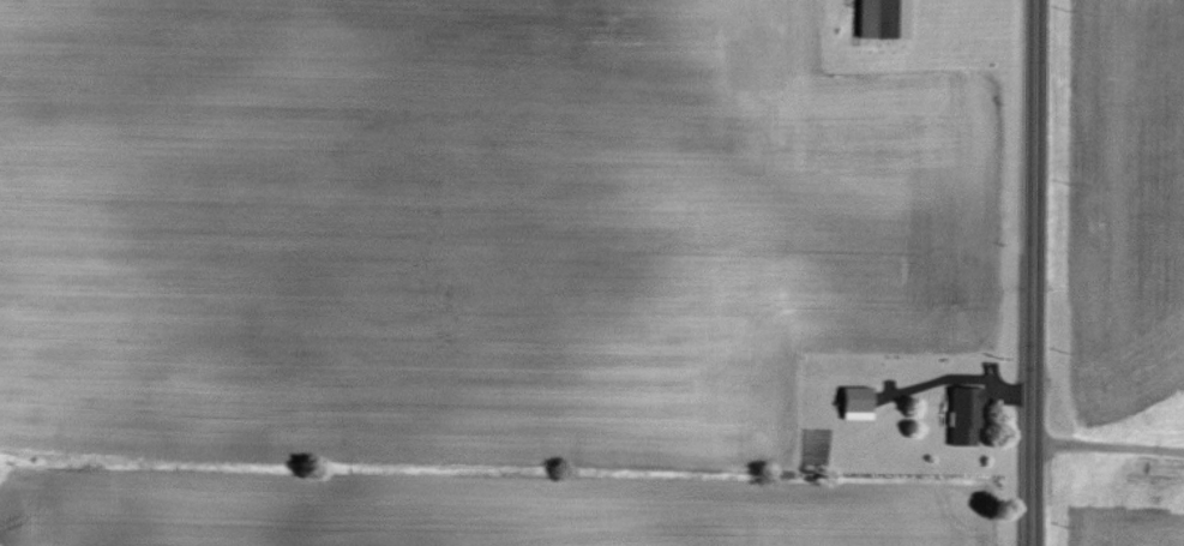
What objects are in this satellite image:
building: (879, 19)
road: (1032, 272)
building: (858, 402)
building: (966, 414)
road: (1107, 448)

